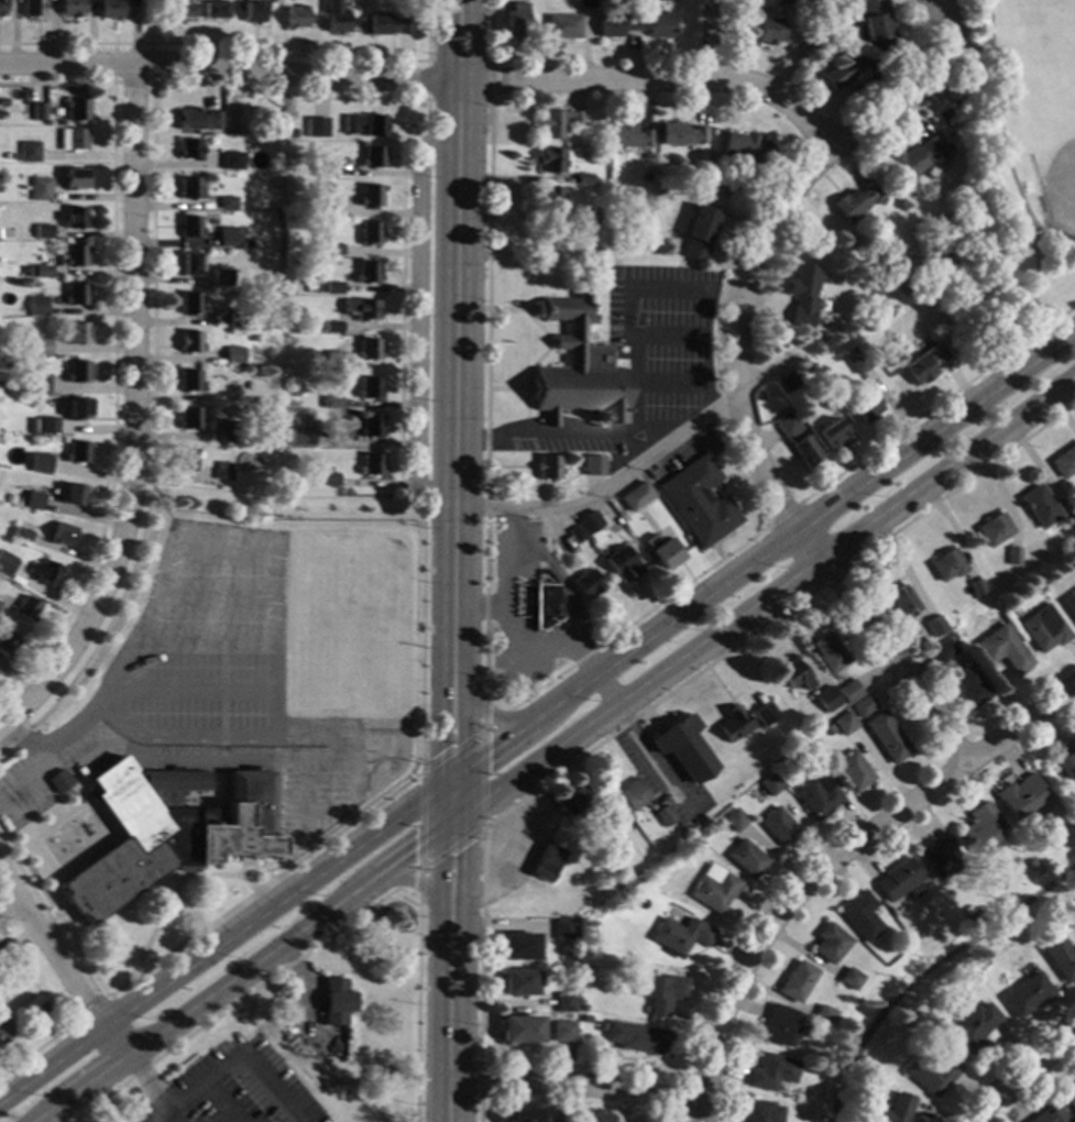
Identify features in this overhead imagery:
building: (660, 0)
building: (583, 3)
building: (32, 8)
building: (72, 8)
building: (1, 9)
building: (110, 9)
building: (182, 9)
building: (213, 10)
building: (253, 11)
building: (295, 18)
building: (334, 18)
building: (874, 19)
building: (516, 20)
road: (151, 21)
building: (616, 23)
building: (387, 25)
building: (660, 25)
building: (562, 26)
building: (767, 30)
road: (491, 31)
road: (712, 38)
building: (831, 45)
road: (244, 46)
building: (808, 46)
road: (969, 54)
building: (820, 58)
road: (232, 65)
building: (844, 73)
road: (657, 77)
road: (427, 79)
road: (490, 79)
road: (153, 81)
building: (22, 103)
building: (77, 108)
building: (39, 111)
building: (199, 120)
building: (555, 122)
building: (368, 124)
building: (317, 127)
building: (292, 133)
building: (627, 135)
building: (680, 135)
building: (77, 139)
building: (747, 146)
building: (190, 148)
building: (30, 152)
park: (1052, 152)
building: (8, 155)
building: (374, 157)
building: (914, 157)
building: (233, 161)
building: (550, 161)
building: (325, 170)
road: (1011, 172)
park: (1020, 175)
building: (646, 177)
building: (76, 178)
building: (582, 179)
building: (40, 188)
building: (190, 189)
building: (371, 196)
building: (550, 199)
building: (856, 201)
building: (228, 202)
building: (325, 210)
building: (279, 216)
building: (585, 216)
building: (76, 219)
building: (190, 227)
road: (402, 230)
building: (44, 231)
building: (698, 232)
building: (370, 233)
road: (1049, 234)
building: (228, 241)
building: (333, 250)
building: (319, 252)
building: (74, 256)
building: (189, 264)
building: (26, 271)
building: (42, 272)
building: (368, 273)
building: (222, 278)
building: (333, 287)
building: (801, 288)
building: (77, 295)
building: (190, 304)
building: (36, 306)
road: (632, 307)
building: (276, 308)
road: (511, 308)
building: (362, 309)
road: (417, 316)
building: (238, 318)
building: (332, 328)
building: (78, 332)
building: (785, 334)
road: (667, 338)
building: (276, 339)
building: (190, 342)
building: (41, 346)
road: (113, 350)
building: (369, 350)
road: (702, 353)
building: (234, 355)
road: (534, 360)
parking lot: (641, 360)
building: (333, 361)
building: (857, 363)
building: (923, 365)
building: (578, 369)
building: (79, 372)
road: (734, 372)
building: (189, 381)
building: (787, 381)
building: (35, 383)
road: (667, 385)
building: (370, 388)
road: (508, 388)
road: (457, 389)
building: (259, 399)
building: (330, 403)
road: (936, 405)
building: (864, 407)
building: (78, 409)
road: (131, 416)
building: (190, 419)
road: (547, 420)
building: (786, 425)
building: (47, 426)
building: (371, 427)
building: (228, 432)
road: (541, 433)
building: (831, 433)
road: (654, 435)
building: (299, 437)
building: (803, 451)
building: (78, 452)
building: (186, 459)
building: (42, 461)
building: (1064, 462)
building: (372, 465)
building: (593, 466)
building: (547, 468)
building: (223, 471)
building: (329, 480)
road: (959, 483)
road: (605, 487)
building: (73, 494)
road: (265, 495)
building: (634, 496)
building: (9, 501)
building: (34, 501)
building: (621, 502)
building: (698, 502)
building: (1039, 506)
road: (782, 514)
road: (809, 521)
building: (589, 522)
building: (1069, 524)
building: (994, 529)
road: (825, 530)
building: (22, 533)
building: (61, 533)
building: (574, 535)
road: (190, 543)
building: (661, 551)
building: (1012, 555)
road: (789, 557)
building: (6, 563)
building: (621, 564)
building: (946, 565)
building: (48, 573)
road: (830, 575)
building: (585, 583)
park: (351, 586)
building: (976, 588)
road: (215, 598)
road: (763, 598)
building: (899, 602)
building: (0, 604)
building: (1069, 604)
road: (480, 605)
building: (544, 605)
building: (28, 608)
parking lot: (519, 614)
road: (570, 614)
building: (950, 615)
building: (933, 626)
road: (484, 628)
building: (1043, 628)
road: (204, 642)
building: (7, 643)
parking lot: (202, 643)
building: (942, 649)
building: (1002, 649)
road: (545, 650)
building: (826, 652)
road: (221, 658)
building: (793, 674)
building: (969, 686)
road: (190, 689)
building: (848, 691)
building: (825, 700)
building: (864, 705)
road: (483, 706)
building: (764, 714)
road: (490, 715)
building: (732, 723)
building: (843, 723)
road: (483, 727)
building: (827, 729)
building: (887, 737)
road: (253, 738)
road: (498, 747)
building: (682, 748)
road: (210, 760)
road: (40, 765)
building: (1064, 765)
building: (780, 768)
building: (853, 770)
road: (550, 776)
building: (58, 781)
traffic signals: (453, 781)
building: (770, 784)
building: (632, 794)
building: (1019, 795)
building: (816, 796)
road: (305, 798)
building: (569, 800)
road: (452, 802)
road: (45, 804)
parking lot: (312, 805)
building: (663, 816)
building: (734, 820)
traffic signals: (452, 824)
building: (778, 826)
building: (980, 828)
building: (165, 832)
building: (611, 855)
building: (936, 855)
building: (746, 858)
road: (829, 859)
building: (542, 861)
road: (451, 871)
road: (244, 876)
road: (410, 878)
building: (899, 881)
road: (176, 882)
road: (418, 882)
building: (713, 889)
road: (57, 897)
road: (11, 908)
road: (62, 911)
building: (859, 916)
building: (562, 930)
building: (680, 935)
road: (227, 942)
building: (829, 943)
building: (518, 947)
building: (8, 949)
building: (1058, 958)
road: (63, 960)
road: (242, 972)
building: (848, 979)
building: (796, 981)
building: (517, 982)
building: (662, 993)
building: (1024, 996)
road: (242, 998)
building: (333, 1002)
building: (564, 1003)
building: (32, 1007)
road: (416, 1009)
road: (89, 1010)
building: (823, 1014)
road: (449, 1020)
building: (779, 1026)
building: (972, 1027)
building: (519, 1030)
building: (4, 1031)
building: (562, 1032)
building: (637, 1038)
road: (36, 1048)
road: (234, 1050)
road: (95, 1054)
building: (771, 1072)
road: (1019, 1072)
building: (930, 1074)
road: (480, 1081)
road: (142, 1082)
road: (575, 1083)
parking lot: (239, 1086)
road: (218, 1100)
building: (1072, 1103)
road: (479, 1109)
building: (896, 1109)
building: (760, 1111)
building: (1050, 1114)
road: (153, 1115)
road: (163, 1115)
building: (520, 1115)
building: (553, 1121)

